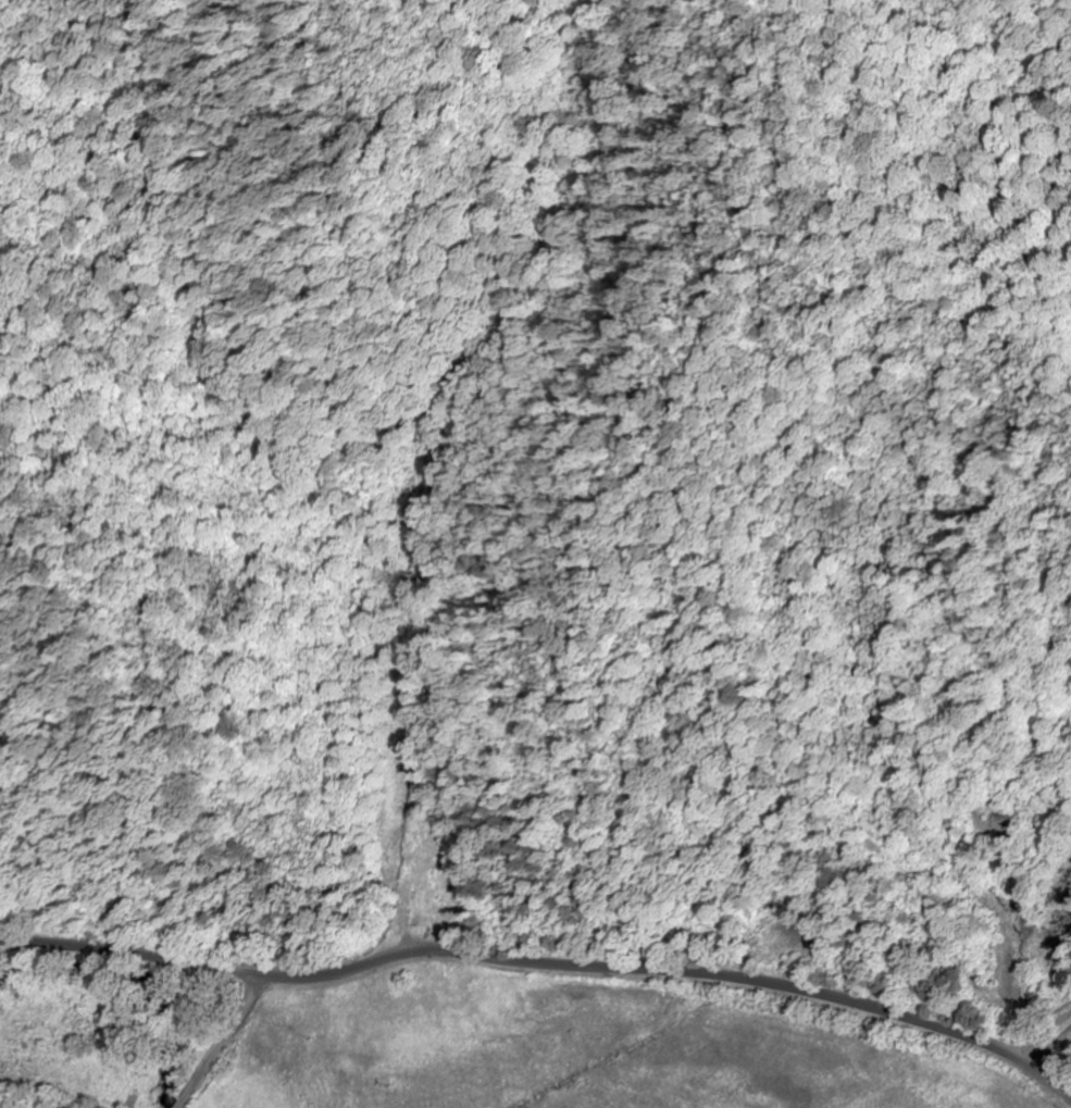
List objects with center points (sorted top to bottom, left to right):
road: (544, 967)
road: (224, 1043)
road: (1048, 1046)

